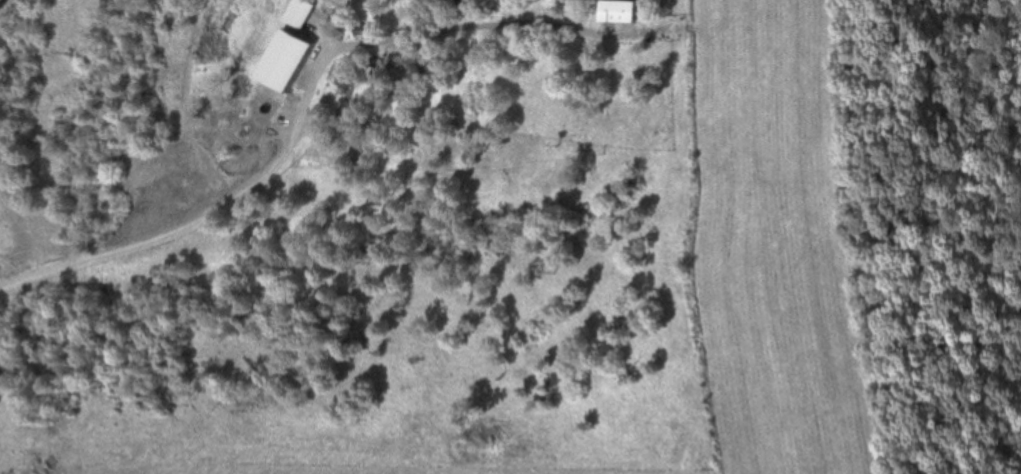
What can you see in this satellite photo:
road: (301, 235)

